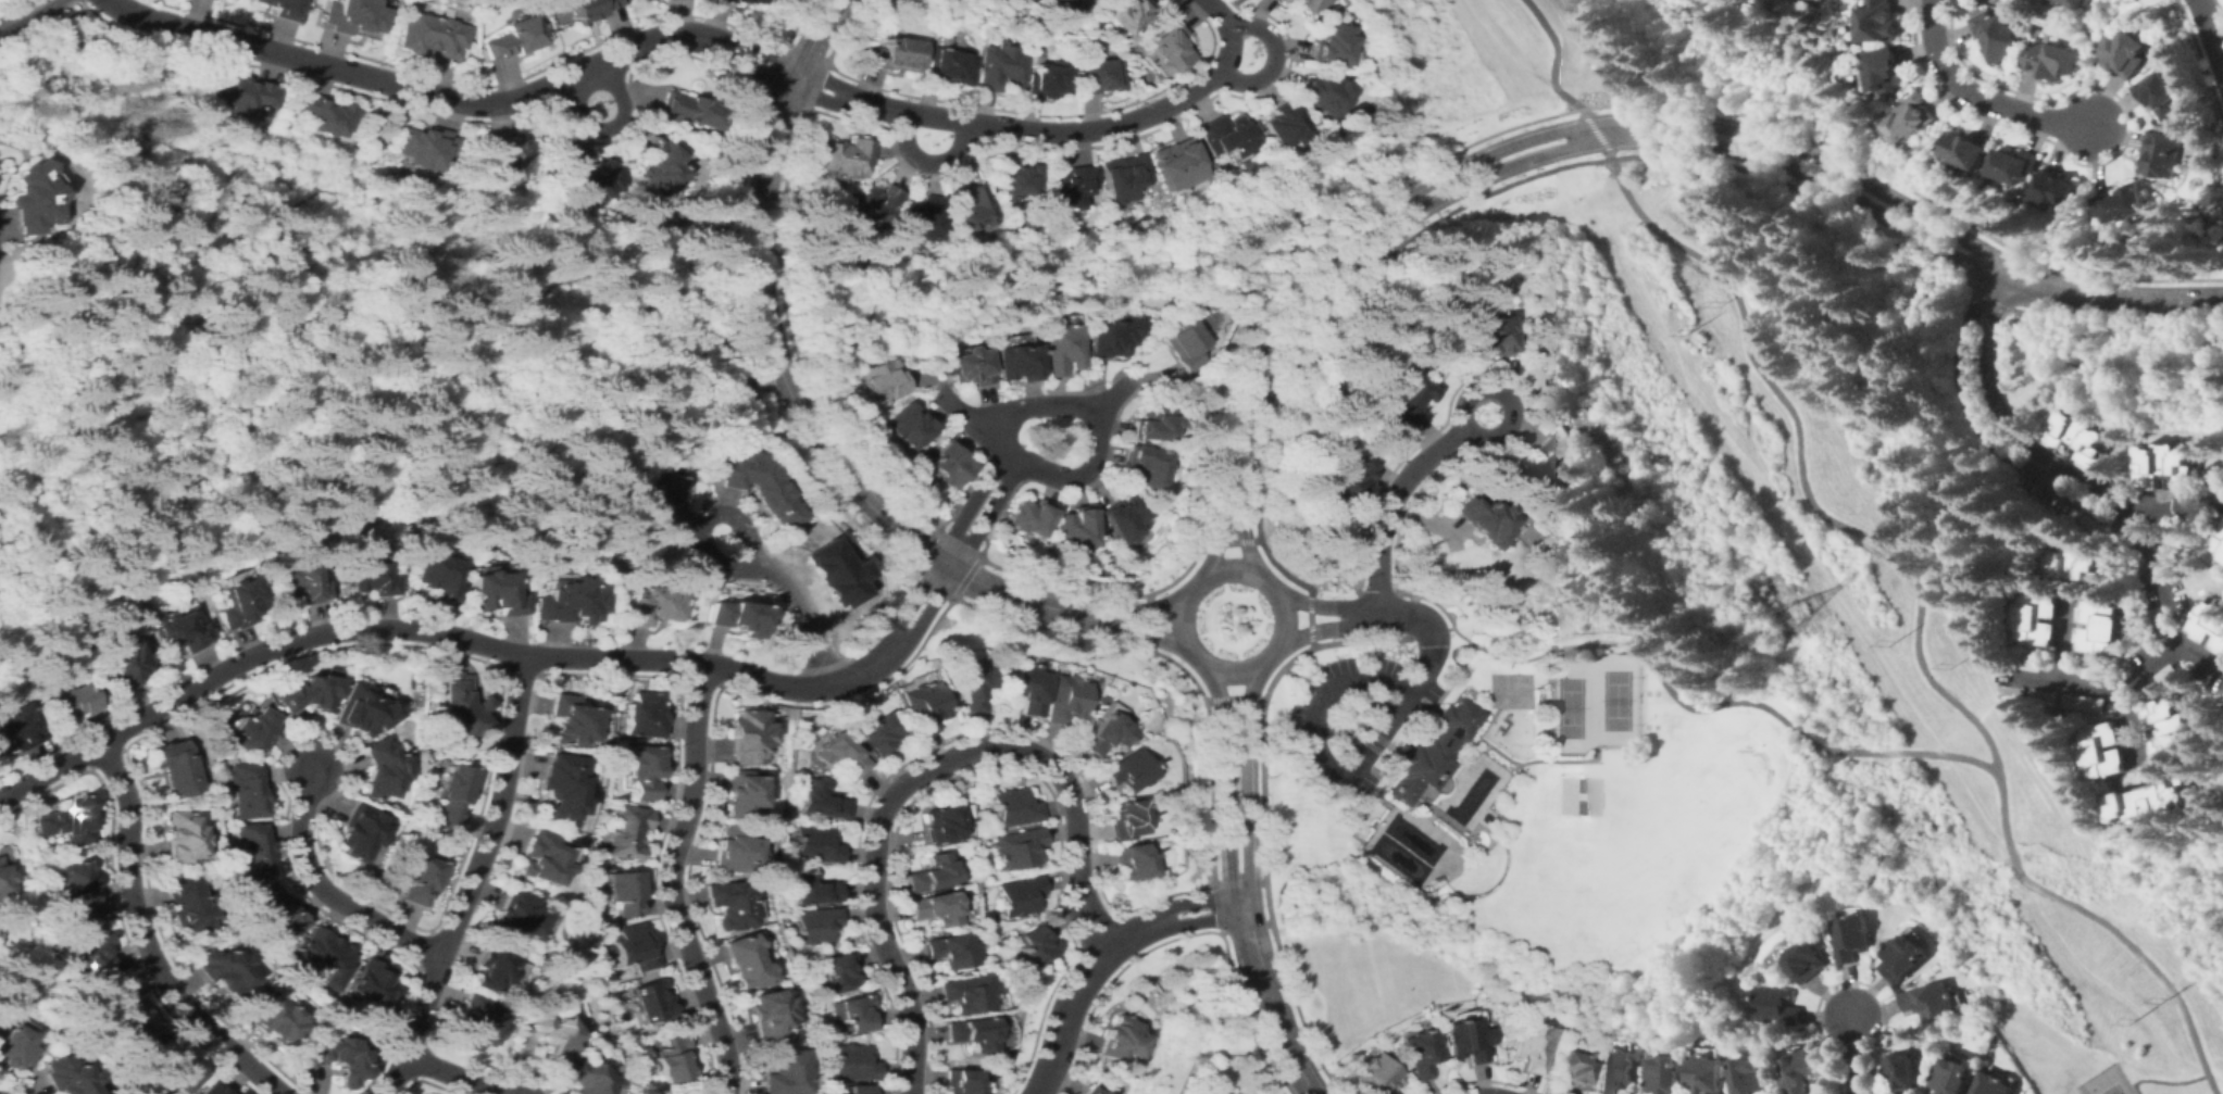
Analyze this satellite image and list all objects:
building: (1279, 0)
building: (1821, 0)
building: (739, 1)
building: (1017, 1)
building: (1022, 1)
building: (1284, 1)
building: (2073, 2)
road: (30, 3)
building: (1309, 4)
building: (1066, 5)
road: (1224, 5)
road: (45, 8)
building: (283, 8)
building: (589, 8)
building: (1121, 12)
building: (351, 15)
road: (14, 16)
building: (1878, 22)
building: (433, 36)
building: (1997, 37)
building: (511, 38)
road: (2210, 40)
building: (1169, 42)
building: (1331, 43)
road: (1501, 48)
building: (2124, 52)
building: (892, 54)
road: (1274, 59)
road: (1552, 60)
building: (2053, 60)
park: (1485, 63)
building: (948, 66)
building: (1000, 66)
building: (1886, 68)
building: (1100, 75)
building: (1049, 79)
road: (108, 84)
building: (1323, 92)
road: (1984, 95)
building: (2160, 95)
building: (247, 96)
road: (453, 101)
building: (689, 110)
building: (327, 115)
building: (1911, 118)
building: (1286, 126)
road: (610, 128)
road: (1596, 131)
road: (1052, 133)
building: (1228, 136)
building: (428, 147)
building: (1965, 150)
road: (1486, 151)
building: (2163, 154)
building: (847, 155)
road: (177, 156)
building: (509, 159)
road: (929, 162)
building: (1177, 164)
building: (662, 166)
building: (2015, 166)
building: (586, 176)
building: (1019, 177)
building: (1125, 177)
building: (1071, 187)
building: (2056, 190)
building: (34, 198)
road: (212, 202)
building: (2124, 204)
building: (872, 208)
building: (974, 209)
road: (1870, 211)
building: (924, 218)
road: (1386, 234)
road: (253, 241)
road: (551, 289)
road: (981, 292)
road: (2100, 297)
power tower: (1722, 302)
power tower: (1693, 328)
road: (121, 329)
building: (1112, 336)
building: (1488, 337)
building: (1186, 343)
building: (1061, 348)
road: (182, 350)
building: (1016, 362)
building: (971, 365)
road: (109, 367)
road: (135, 368)
building: (884, 379)
building: (749, 382)
road: (791, 389)
road: (1108, 398)
road: (417, 400)
building: (1404, 400)
road: (1509, 402)
road: (1747, 416)
road: (965, 417)
road: (1095, 423)
building: (1154, 423)
road: (2006, 424)
building: (910, 426)
road: (1983, 430)
building: (2078, 438)
building: (948, 464)
building: (1146, 466)
building: (1545, 468)
building: (2168, 468)
road: (147, 473)
building: (1350, 475)
building: (758, 485)
building: (2215, 486)
building: (662, 500)
road: (1388, 504)
road: (2175, 504)
road: (969, 505)
road: (986, 516)
road: (1787, 517)
building: (1031, 518)
building: (1482, 519)
building: (1125, 520)
building: (1077, 528)
building: (2222, 532)
road: (1228, 541)
building: (2221, 546)
building: (2222, 561)
building: (2078, 563)
building: (832, 570)
building: (437, 575)
building: (370, 579)
building: (303, 581)
building: (495, 593)
road: (794, 595)
road: (1286, 595)
road: (912, 596)
road: (1167, 600)
building: (238, 602)
building: (573, 602)
building: (650, 605)
road: (1329, 606)
road: (928, 608)
road: (1127, 611)
road: (1404, 614)
power tower: (1796, 614)
building: (740, 615)
road: (1361, 615)
road: (1918, 615)
road: (1279, 618)
road: (1308, 618)
building: (2036, 618)
road: (1178, 619)
road: (1147, 620)
building: (2210, 623)
building: (2105, 628)
road: (1313, 630)
road: (1125, 631)
park: (1851, 631)
road: (437, 632)
building: (178, 633)
road: (2066, 640)
road: (1169, 643)
power tower: (1890, 643)
road: (2202, 653)
road: (2164, 655)
building: (2030, 662)
building: (123, 665)
power tower: (1951, 665)
building: (2096, 670)
building: (2169, 677)
building: (1026, 688)
building: (970, 689)
park: (1508, 689)
road: (1671, 691)
building: (309, 693)
road: (1317, 695)
road: (1996, 697)
building: (2047, 697)
building: (1063, 699)
road: (1233, 699)
park: (1616, 699)
building: (1097, 700)
building: (72, 703)
building: (2086, 703)
building: (462, 704)
building: (923, 706)
park: (1569, 706)
road: (1396, 707)
park: (1647, 708)
park: (1656, 708)
building: (362, 709)
building: (644, 715)
building: (569, 721)
road: (2132, 724)
building: (1085, 725)
building: (16, 728)
building: (251, 728)
building: (2171, 728)
building: (747, 734)
building: (877, 734)
building: (1103, 734)
building: (1426, 751)
building: (2103, 752)
building: (839, 754)
building: (174, 767)
building: (380, 770)
building: (644, 771)
building: (1127, 771)
road: (915, 772)
road: (1244, 782)
road: (1224, 783)
park: (1578, 784)
building: (559, 785)
building: (246, 791)
park: (1716, 793)
building: (742, 794)
building: (453, 796)
building: (822, 801)
building: (2151, 801)
park: (1578, 805)
building: (1015, 807)
road: (496, 808)
building: (1125, 819)
building: (68, 821)
building: (942, 823)
building: (796, 826)
building: (360, 832)
building: (628, 832)
building: (179, 839)
building: (819, 845)
building: (1019, 847)
building: (735, 850)
building: (251, 851)
building: (538, 858)
building: (1131, 862)
building: (932, 873)
building: (421, 879)
road: (670, 880)
building: (3, 881)
building: (815, 889)
building: (77, 890)
road: (324, 891)
building: (625, 892)
building: (1021, 895)
building: (733, 904)
building: (188, 906)
building: (935, 908)
building: (277, 910)
building: (513, 917)
building: (820, 925)
building: (1851, 938)
road: (142, 942)
building: (1037, 944)
road: (1250, 946)
building: (635, 948)
building: (951, 950)
building: (93, 953)
building: (325, 956)
road: (1098, 956)
building: (1903, 958)
building: (747, 961)
building: (1806, 961)
building: (225, 969)
building: (490, 970)
building: (840, 971)
building: (373, 984)
road: (2111, 990)
building: (966, 993)
power tower: (2161, 998)
building: (1931, 1001)
building: (654, 1003)
road: (421, 1005)
building: (1776, 1006)
building: (129, 1011)
building: (856, 1013)
building: (767, 1016)
building: (278, 1021)
power tower: (2130, 1021)
building: (475, 1023)
building: (972, 1033)
building: (550, 1036)
building: (1121, 1039)
building: (1465, 1040)
road: (1279, 1042)
building: (1533, 1046)
building: (13, 1047)
building: (1422, 1053)
road: (1854, 1055)
building: (673, 1058)
building: (338, 1059)
building: (854, 1062)
building: (174, 1065)
building: (1902, 1069)
building: (1572, 1070)
building: (1615, 1070)
building: (1803, 1070)
road: (447, 1072)
building: (784, 1073)
building: (1708, 1073)
road: (390, 1074)
building: (582, 1076)
building: (1377, 1076)
building: (1665, 1076)
building: (1752, 1076)
building: (1953, 1077)
building: (64, 1078)
building: (961, 1081)
road: (2170, 1081)
building: (1993, 1084)
building: (212, 1089)
park: (2111, 1089)
building: (860, 1090)
building: (1089, 1091)

